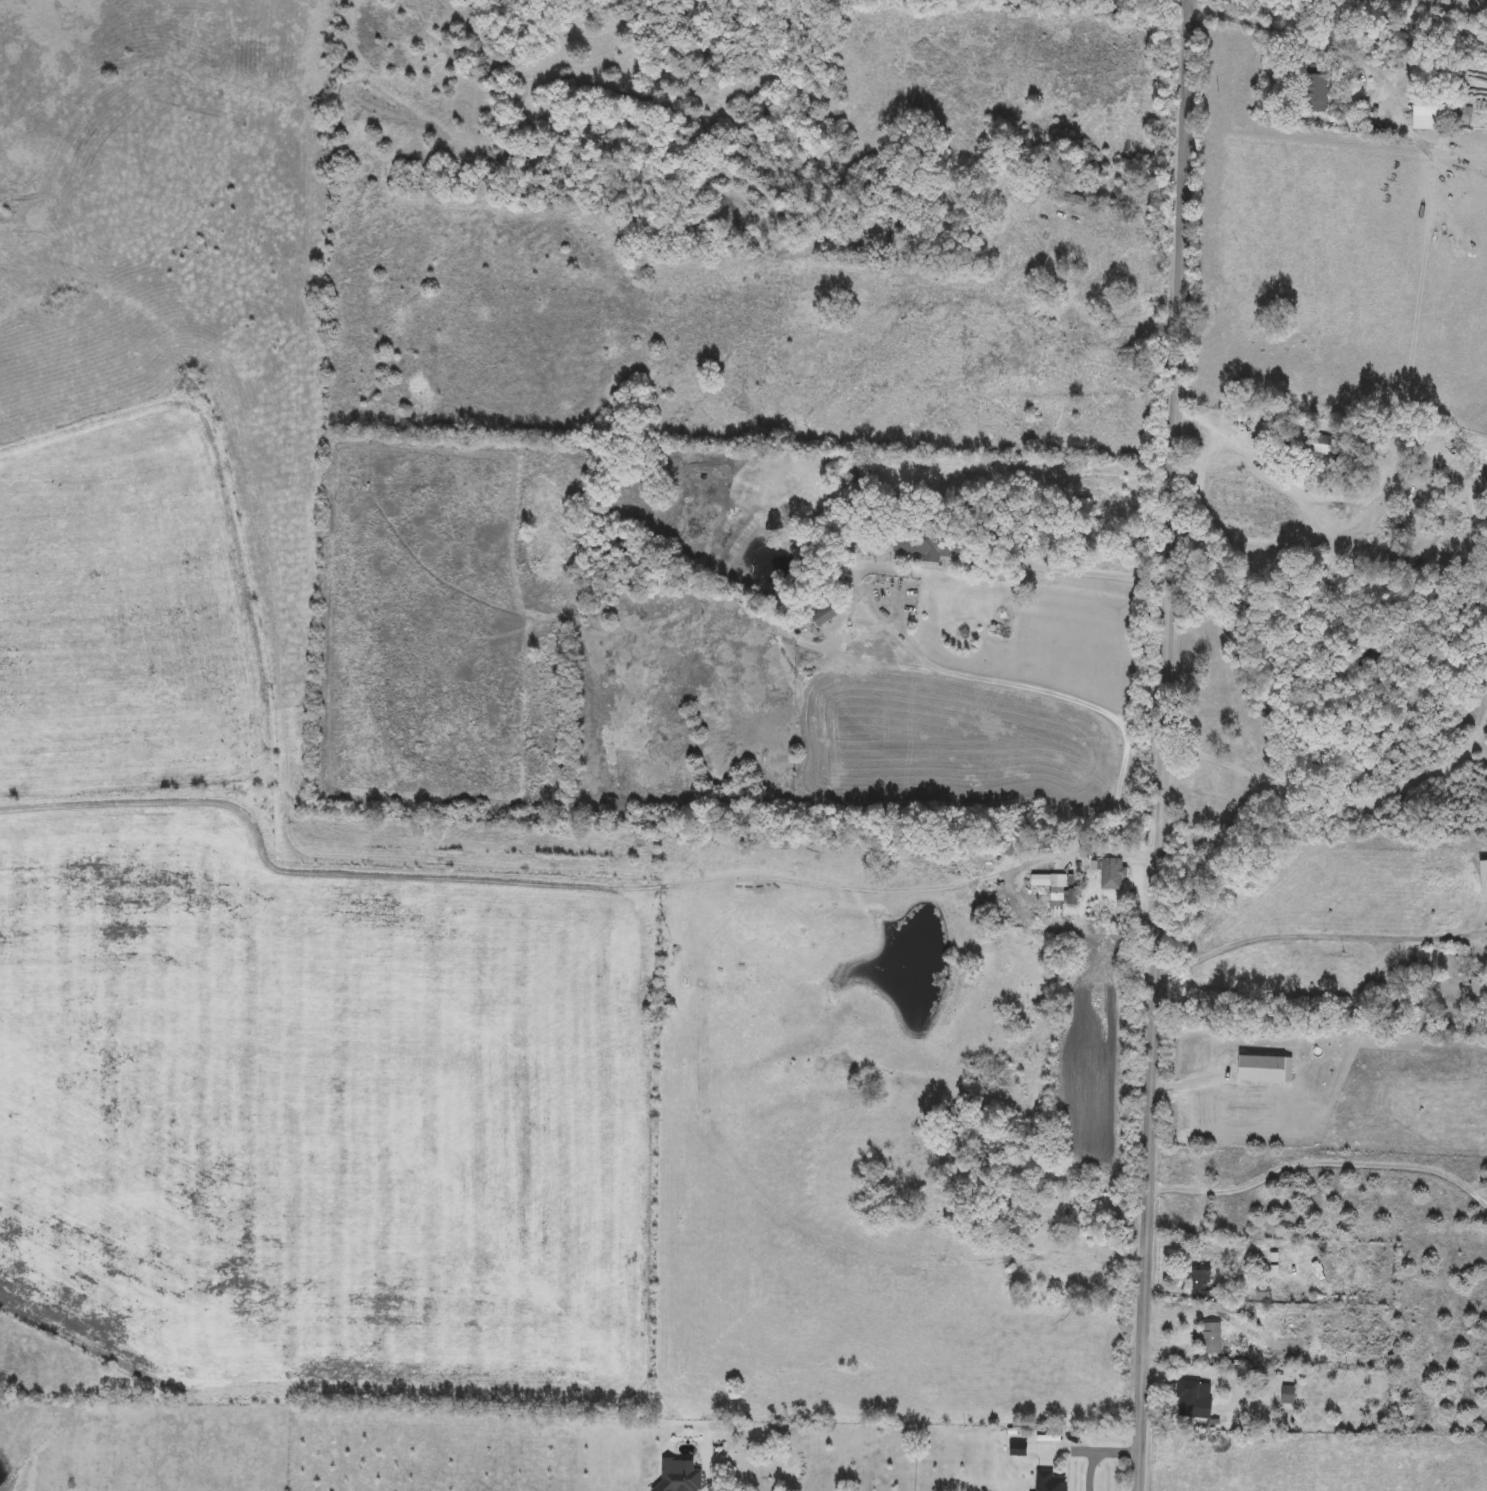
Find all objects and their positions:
road: (1287, 35)
building: (1317, 88)
building: (1431, 112)
building: (1317, 446)
road: (1200, 473)
road: (1361, 512)
building: (932, 545)
building: (825, 615)
road: (834, 655)
road: (1164, 745)
building: (1267, 774)
building: (1236, 788)
road: (1335, 801)
building: (1112, 874)
building: (1484, 884)
building: (1057, 889)
road: (1297, 936)
building: (1477, 993)
building: (1265, 1070)
building: (1201, 1285)
building: (1263, 1293)
building: (1211, 1339)
building: (1288, 1395)
building: (1187, 1399)
building: (713, 1447)
road: (1097, 1453)
building: (1049, 1482)

